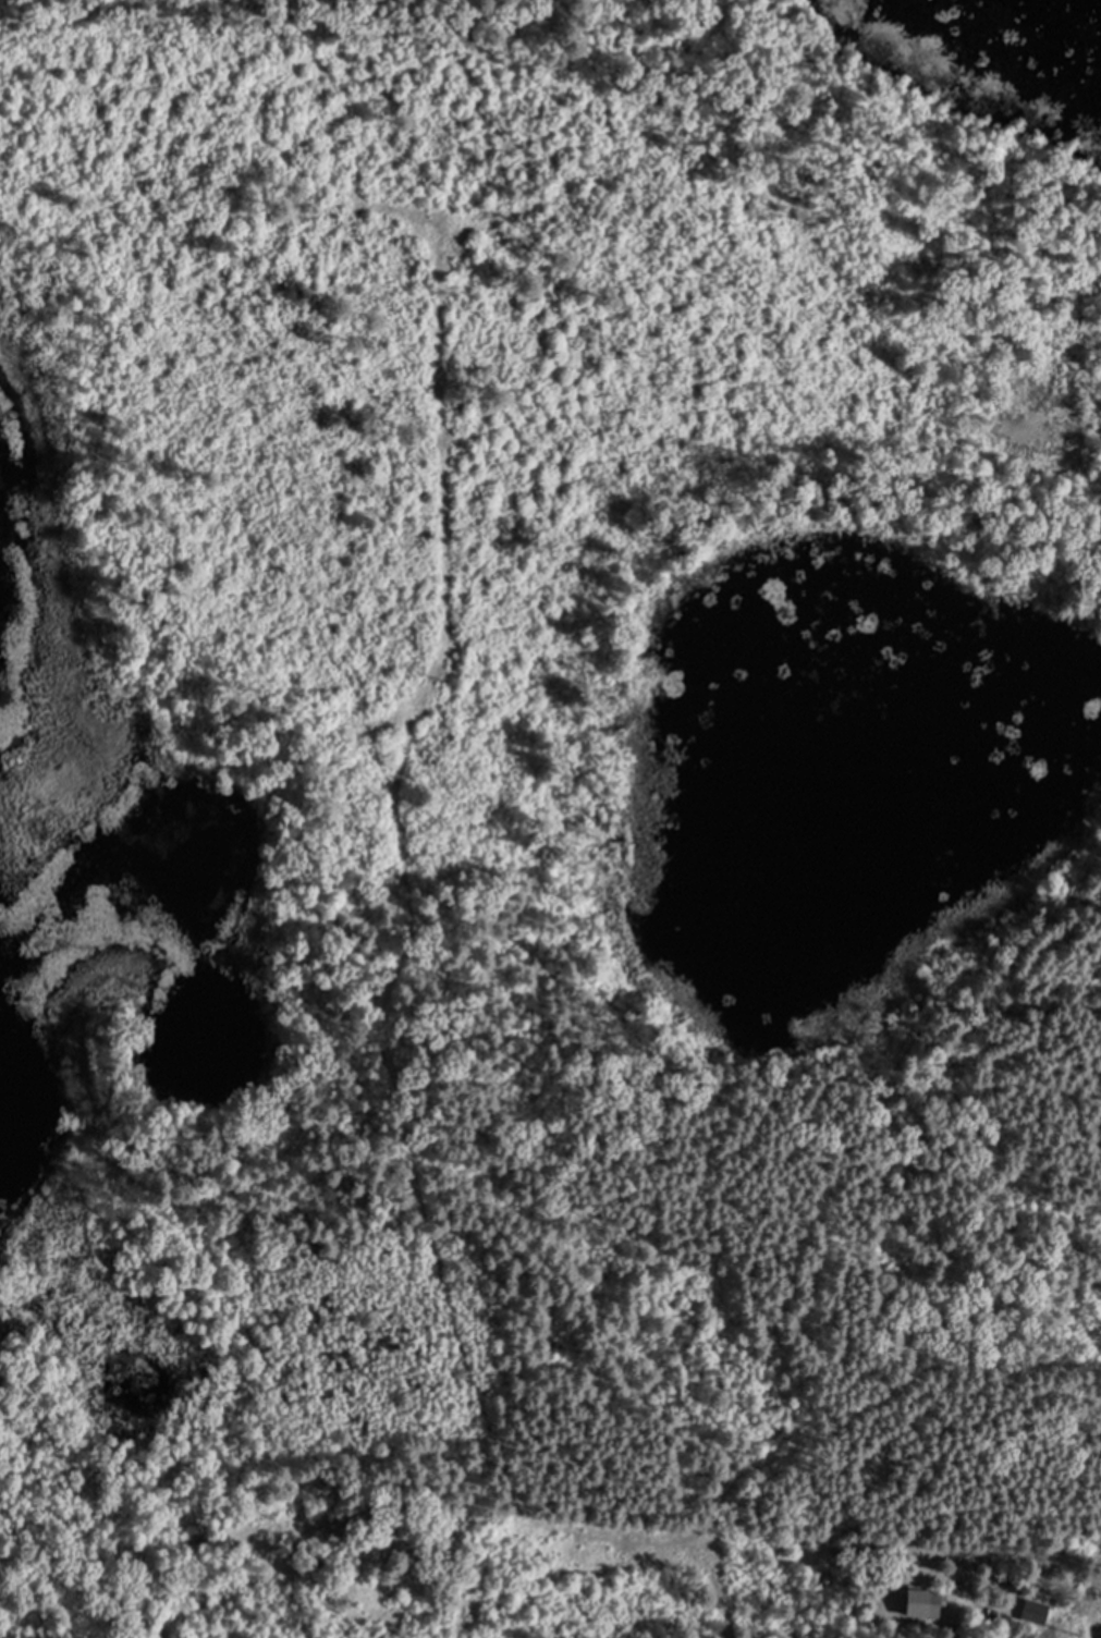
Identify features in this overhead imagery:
building: (939, 1610)
building: (1036, 1613)
power tower: (1087, 1636)

